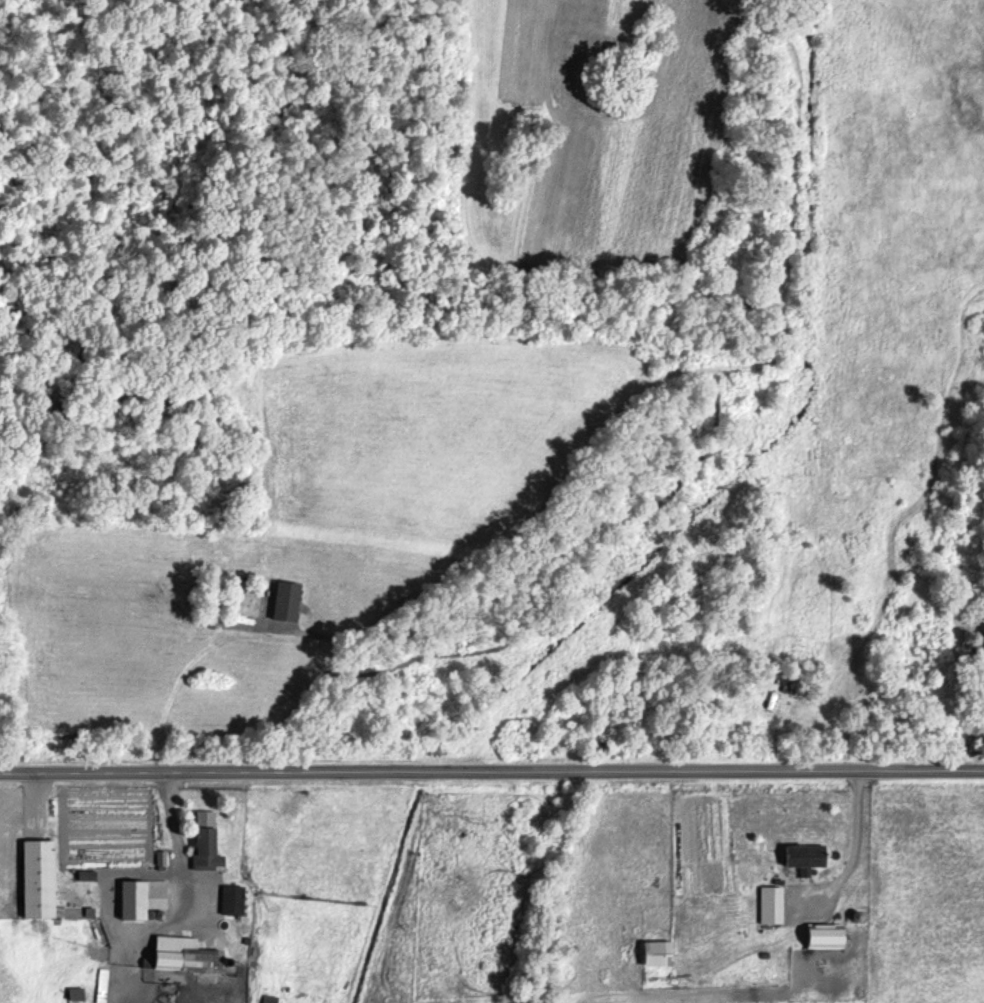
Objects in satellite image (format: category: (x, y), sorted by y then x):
building: (285, 602)
building: (977, 647)
road: (282, 717)
road: (491, 768)
building: (208, 843)
building: (805, 858)
building: (143, 900)
building: (826, 938)
building: (188, 957)

